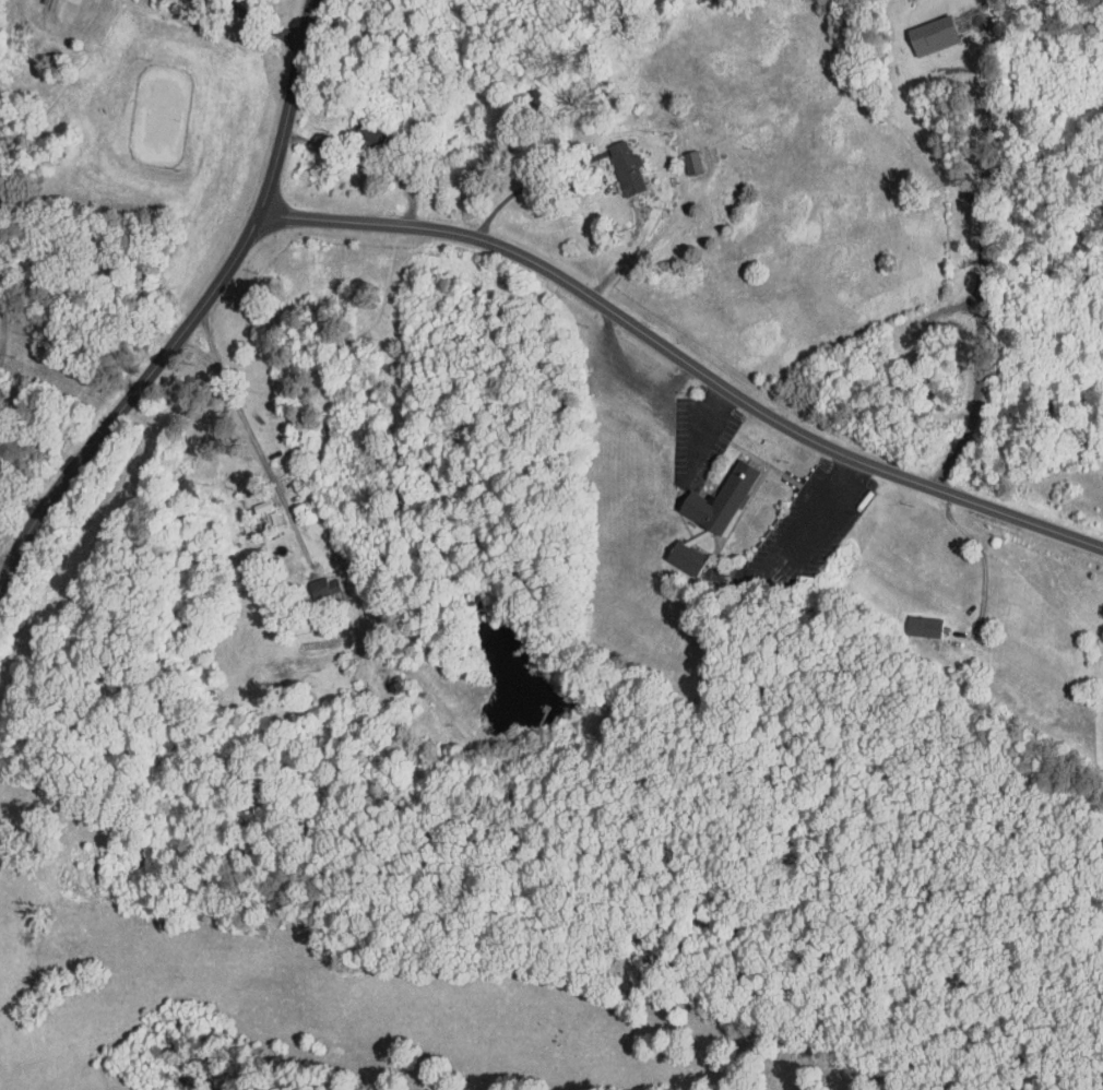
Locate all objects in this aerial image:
road: (260, 22)
building: (677, 156)
building: (613, 162)
road: (368, 166)
road: (530, 182)
road: (0, 271)
road: (193, 317)
road: (680, 363)
building: (705, 491)
building: (672, 549)
road: (981, 549)
road: (7, 565)
road: (779, 571)
building: (308, 580)
road: (484, 607)
building: (911, 619)
building: (1098, 672)
road: (572, 749)

